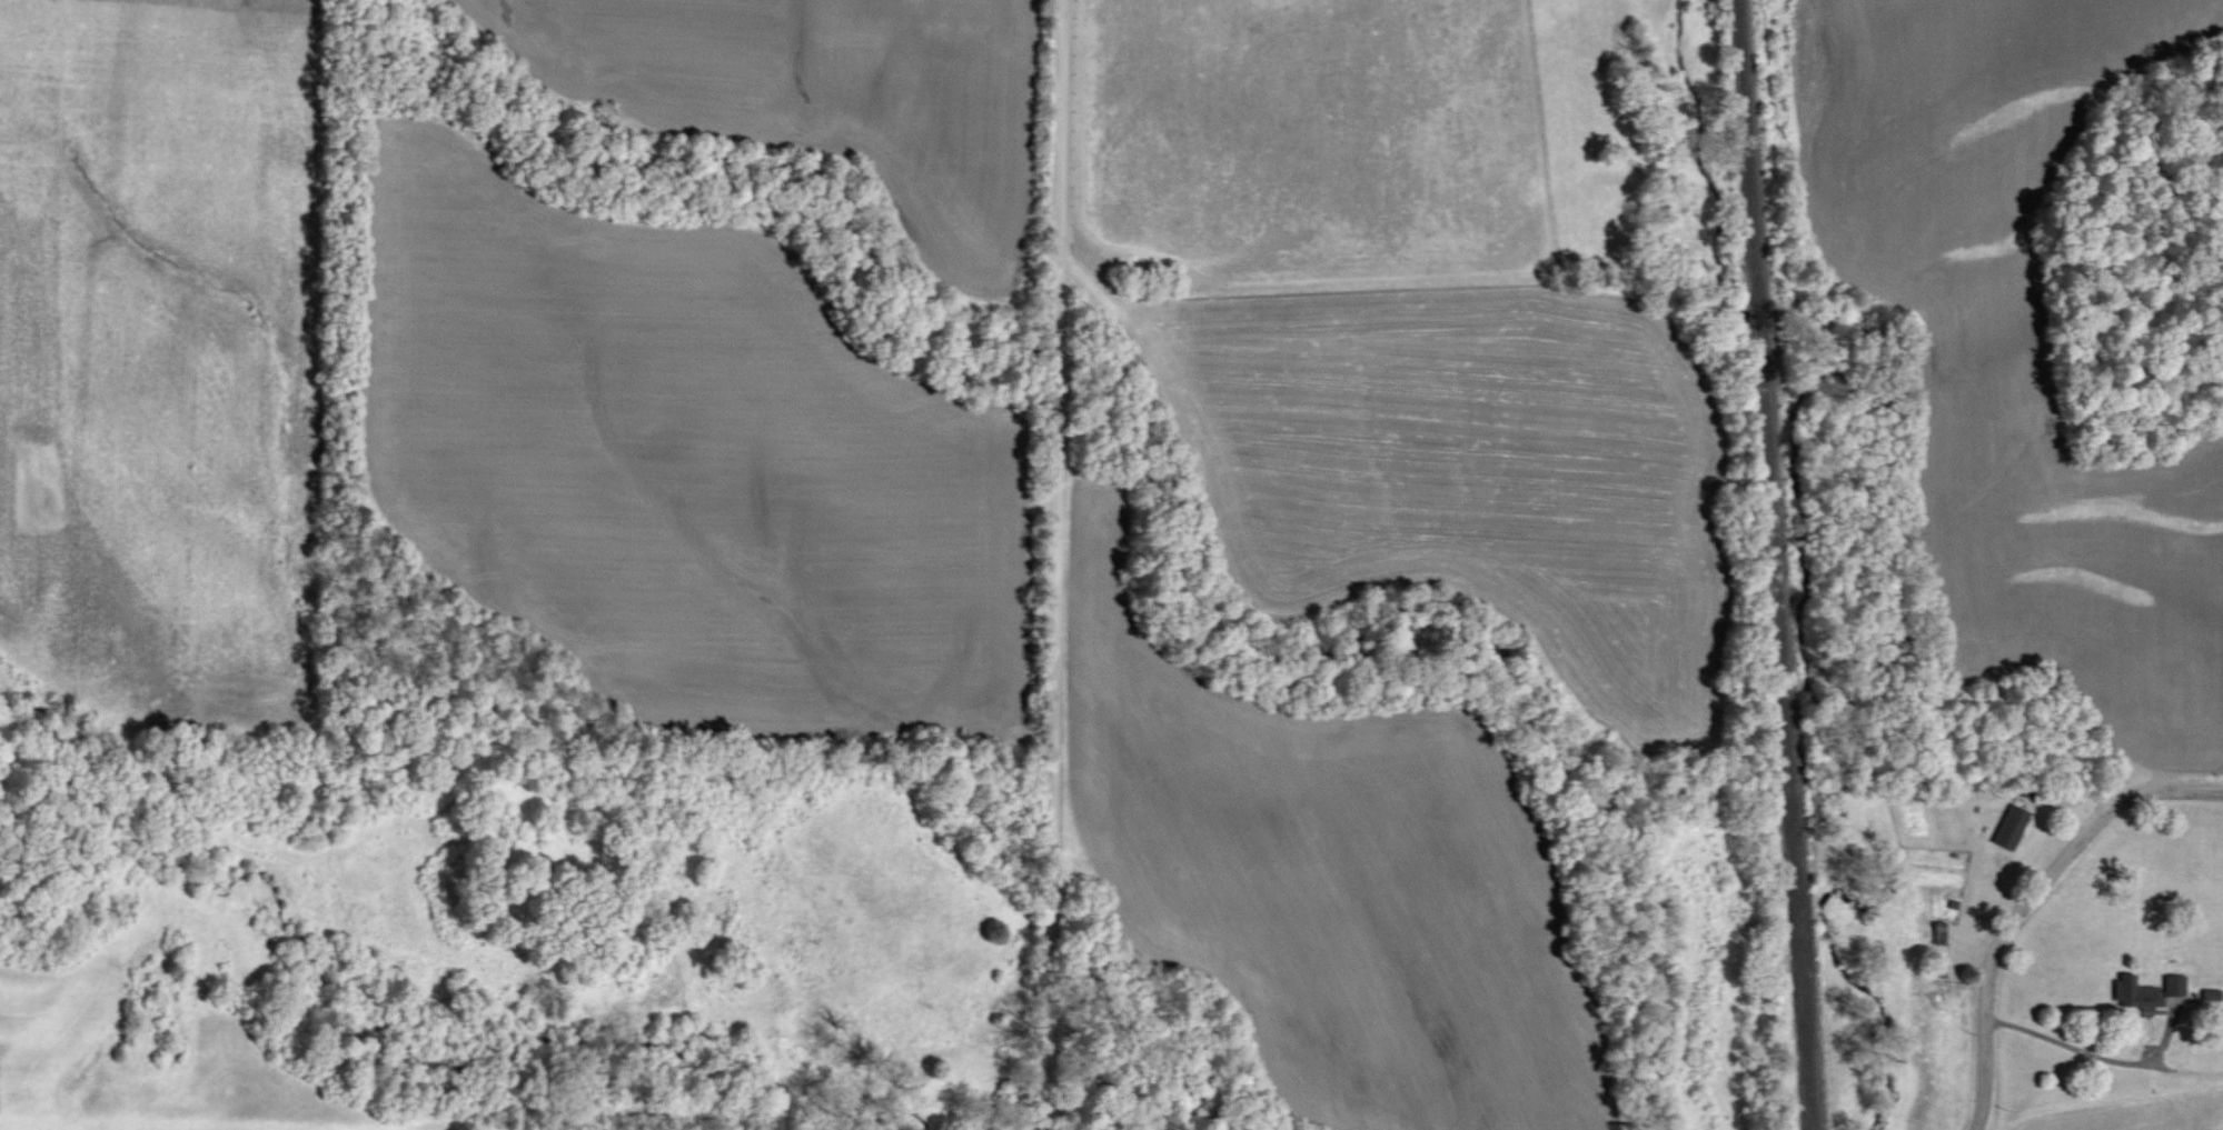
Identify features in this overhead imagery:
road: (1054, 564)
railway: (1776, 564)
road: (2140, 802)
building: (2013, 824)
building: (2175, 984)
road: (2023, 991)
building: (2138, 993)

